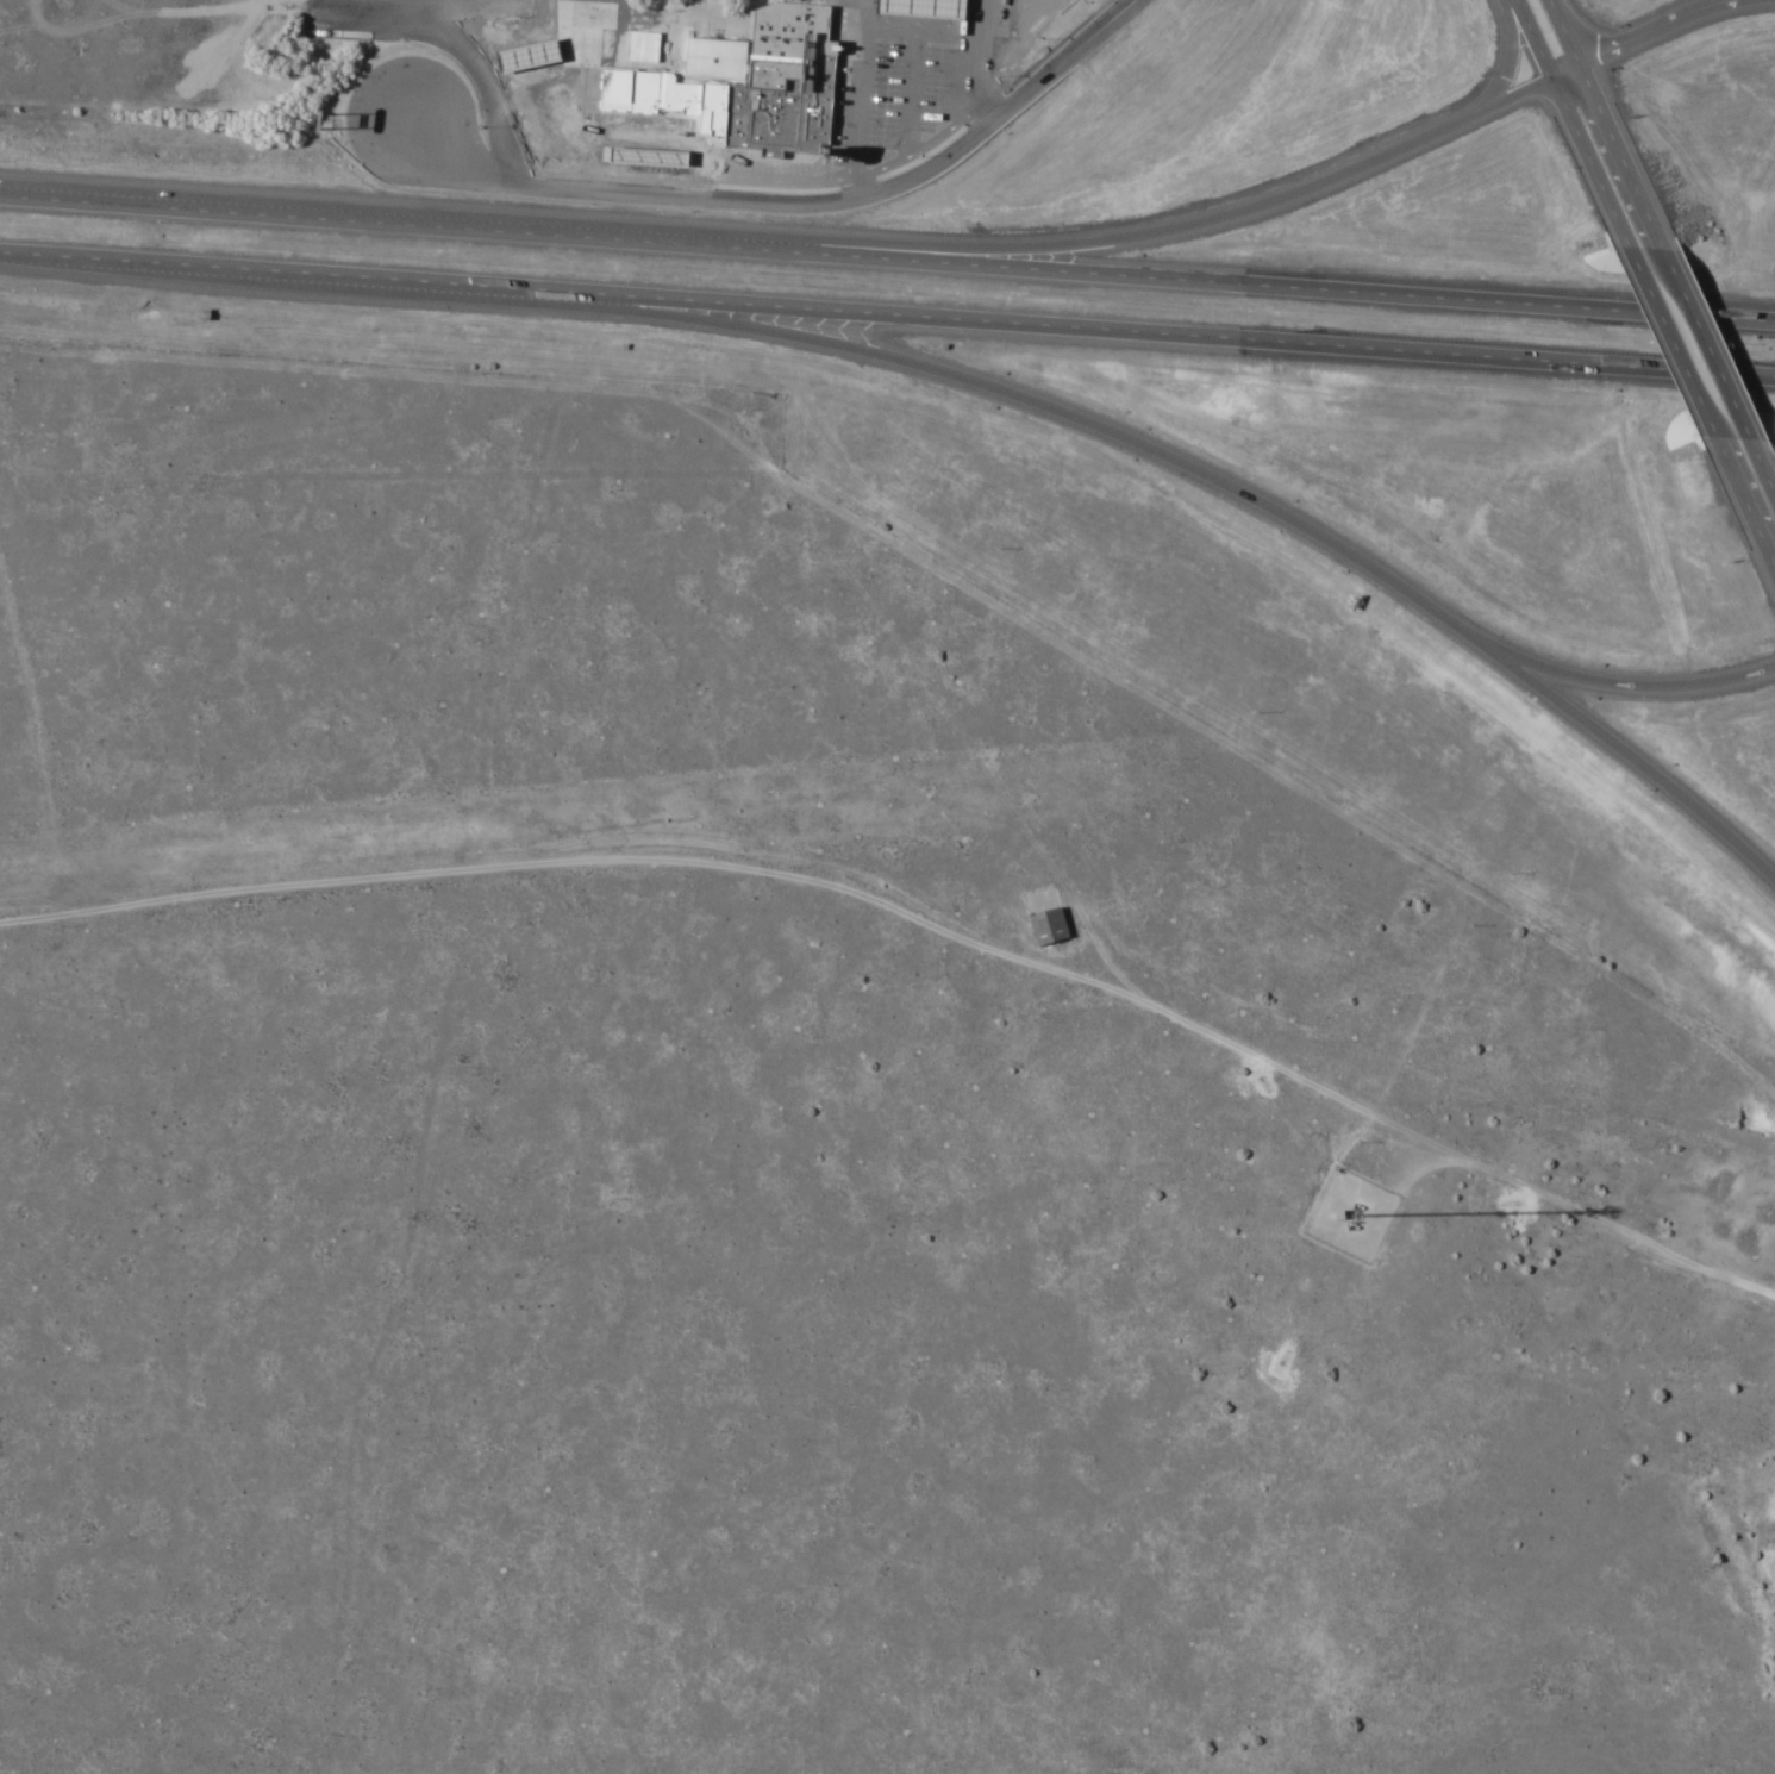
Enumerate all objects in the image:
parking lot: (494, 1)
building: (919, 10)
gas station: (919, 10)
road: (651, 21)
road: (1644, 30)
road: (1558, 32)
road: (1506, 55)
road: (981, 61)
building: (708, 69)
road: (923, 69)
parking lot: (918, 71)
building: (777, 86)
building: (623, 93)
road: (865, 106)
road: (506, 107)
road: (951, 118)
road: (1570, 124)
road: (1001, 127)
building: (637, 146)
gas station: (637, 146)
road: (893, 152)
road: (1615, 154)
road: (711, 163)
road: (812, 206)
road: (1177, 224)
road: (887, 262)
road: (887, 316)
road: (1670, 344)
road: (1704, 345)
road: (1048, 412)
road: (1731, 474)
road: (1762, 475)
road: (1762, 539)
road: (1623, 683)
road: (1629, 763)
road: (920, 925)
building: (1042, 927)

